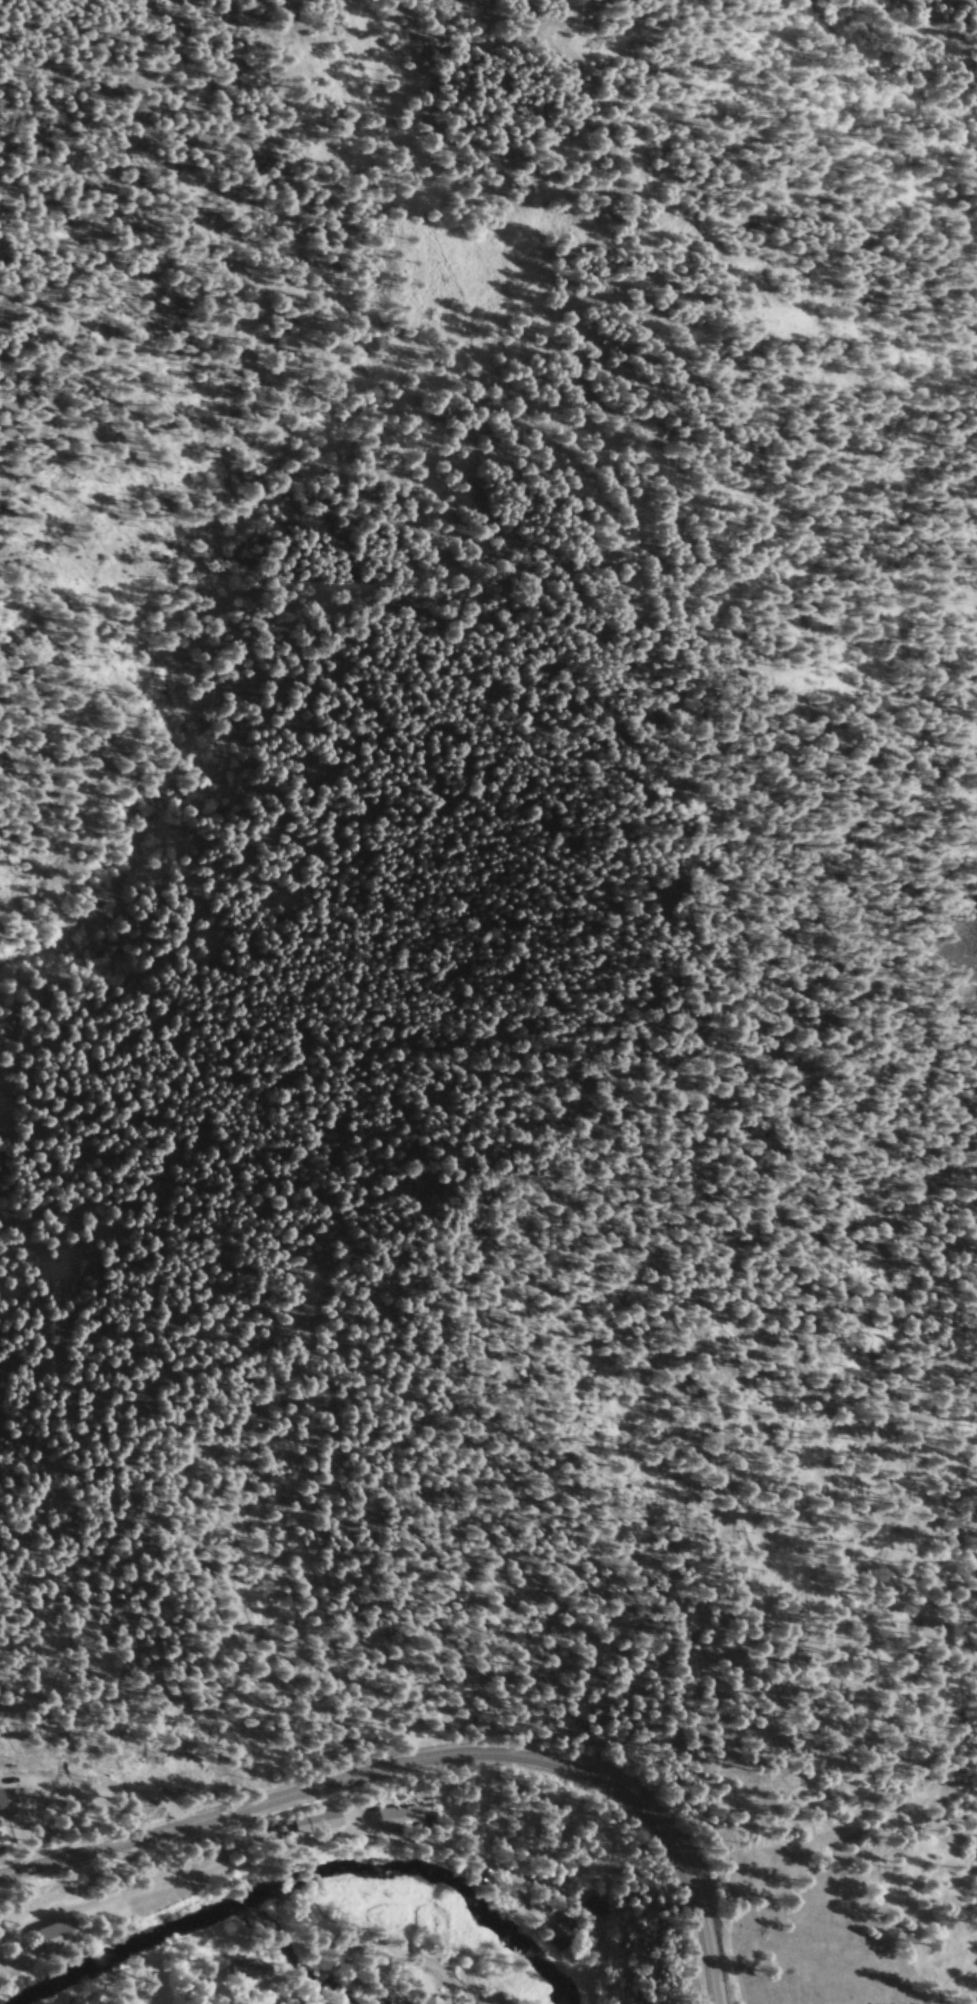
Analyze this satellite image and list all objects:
road: (423, 1768)
road: (113, 1800)
building: (4, 1814)
building: (402, 1827)
building: (317, 1831)
road: (271, 1861)
building: (580, 1909)
building: (548, 1939)
building: (60, 1940)
building: (563, 1945)
road: (376, 1965)
building: (248, 1978)

